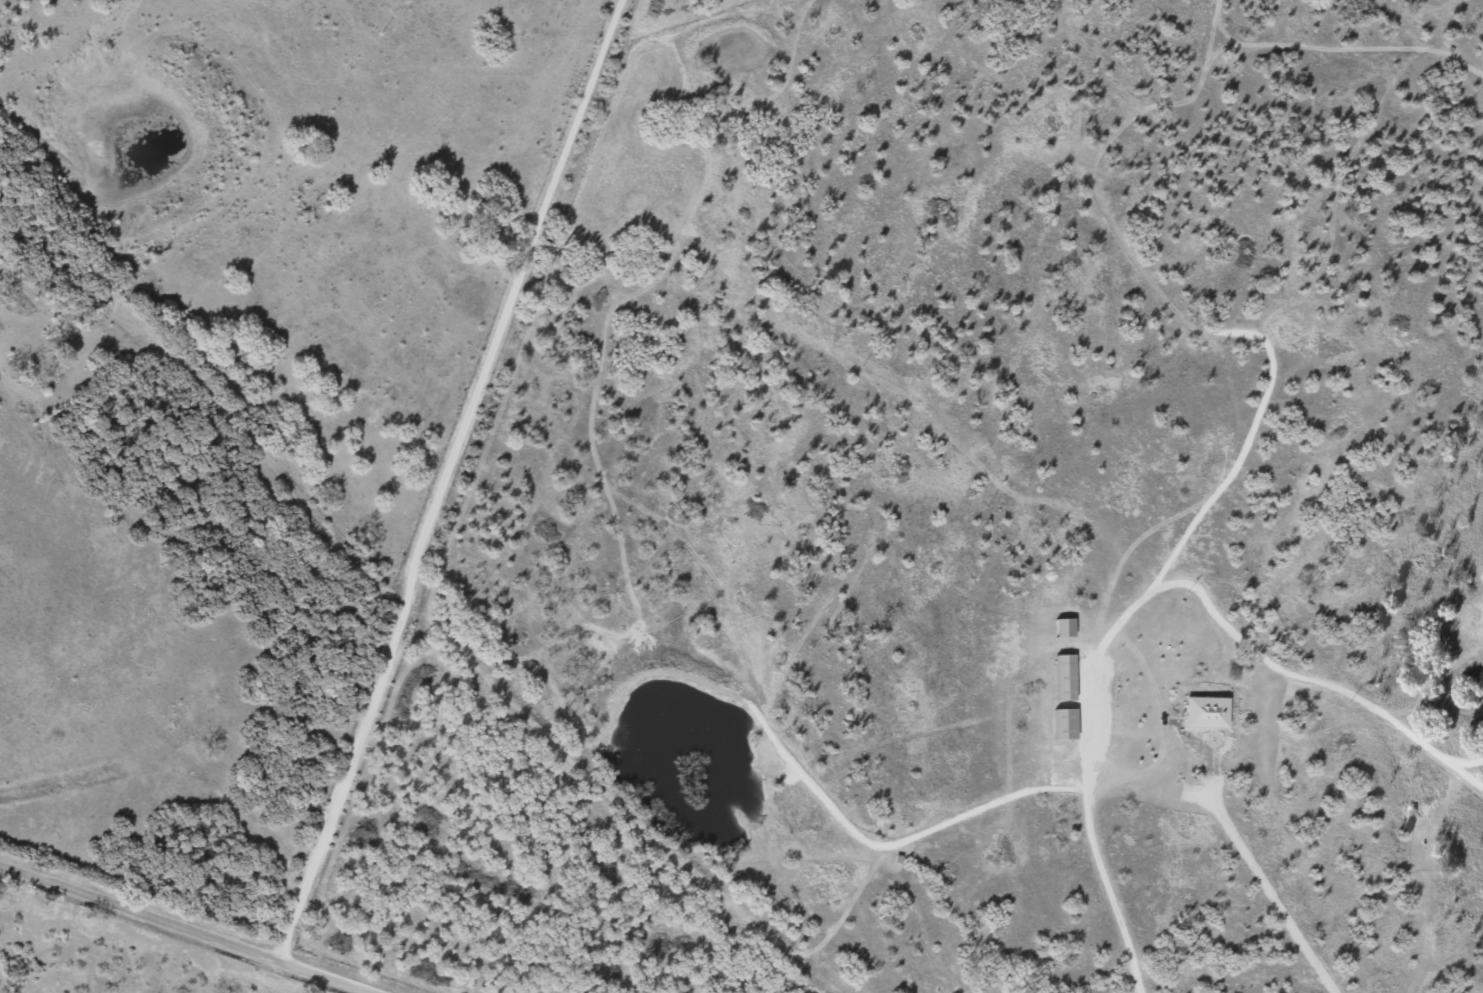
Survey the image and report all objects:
road: (461, 481)
railway: (410, 577)
road: (188, 929)

